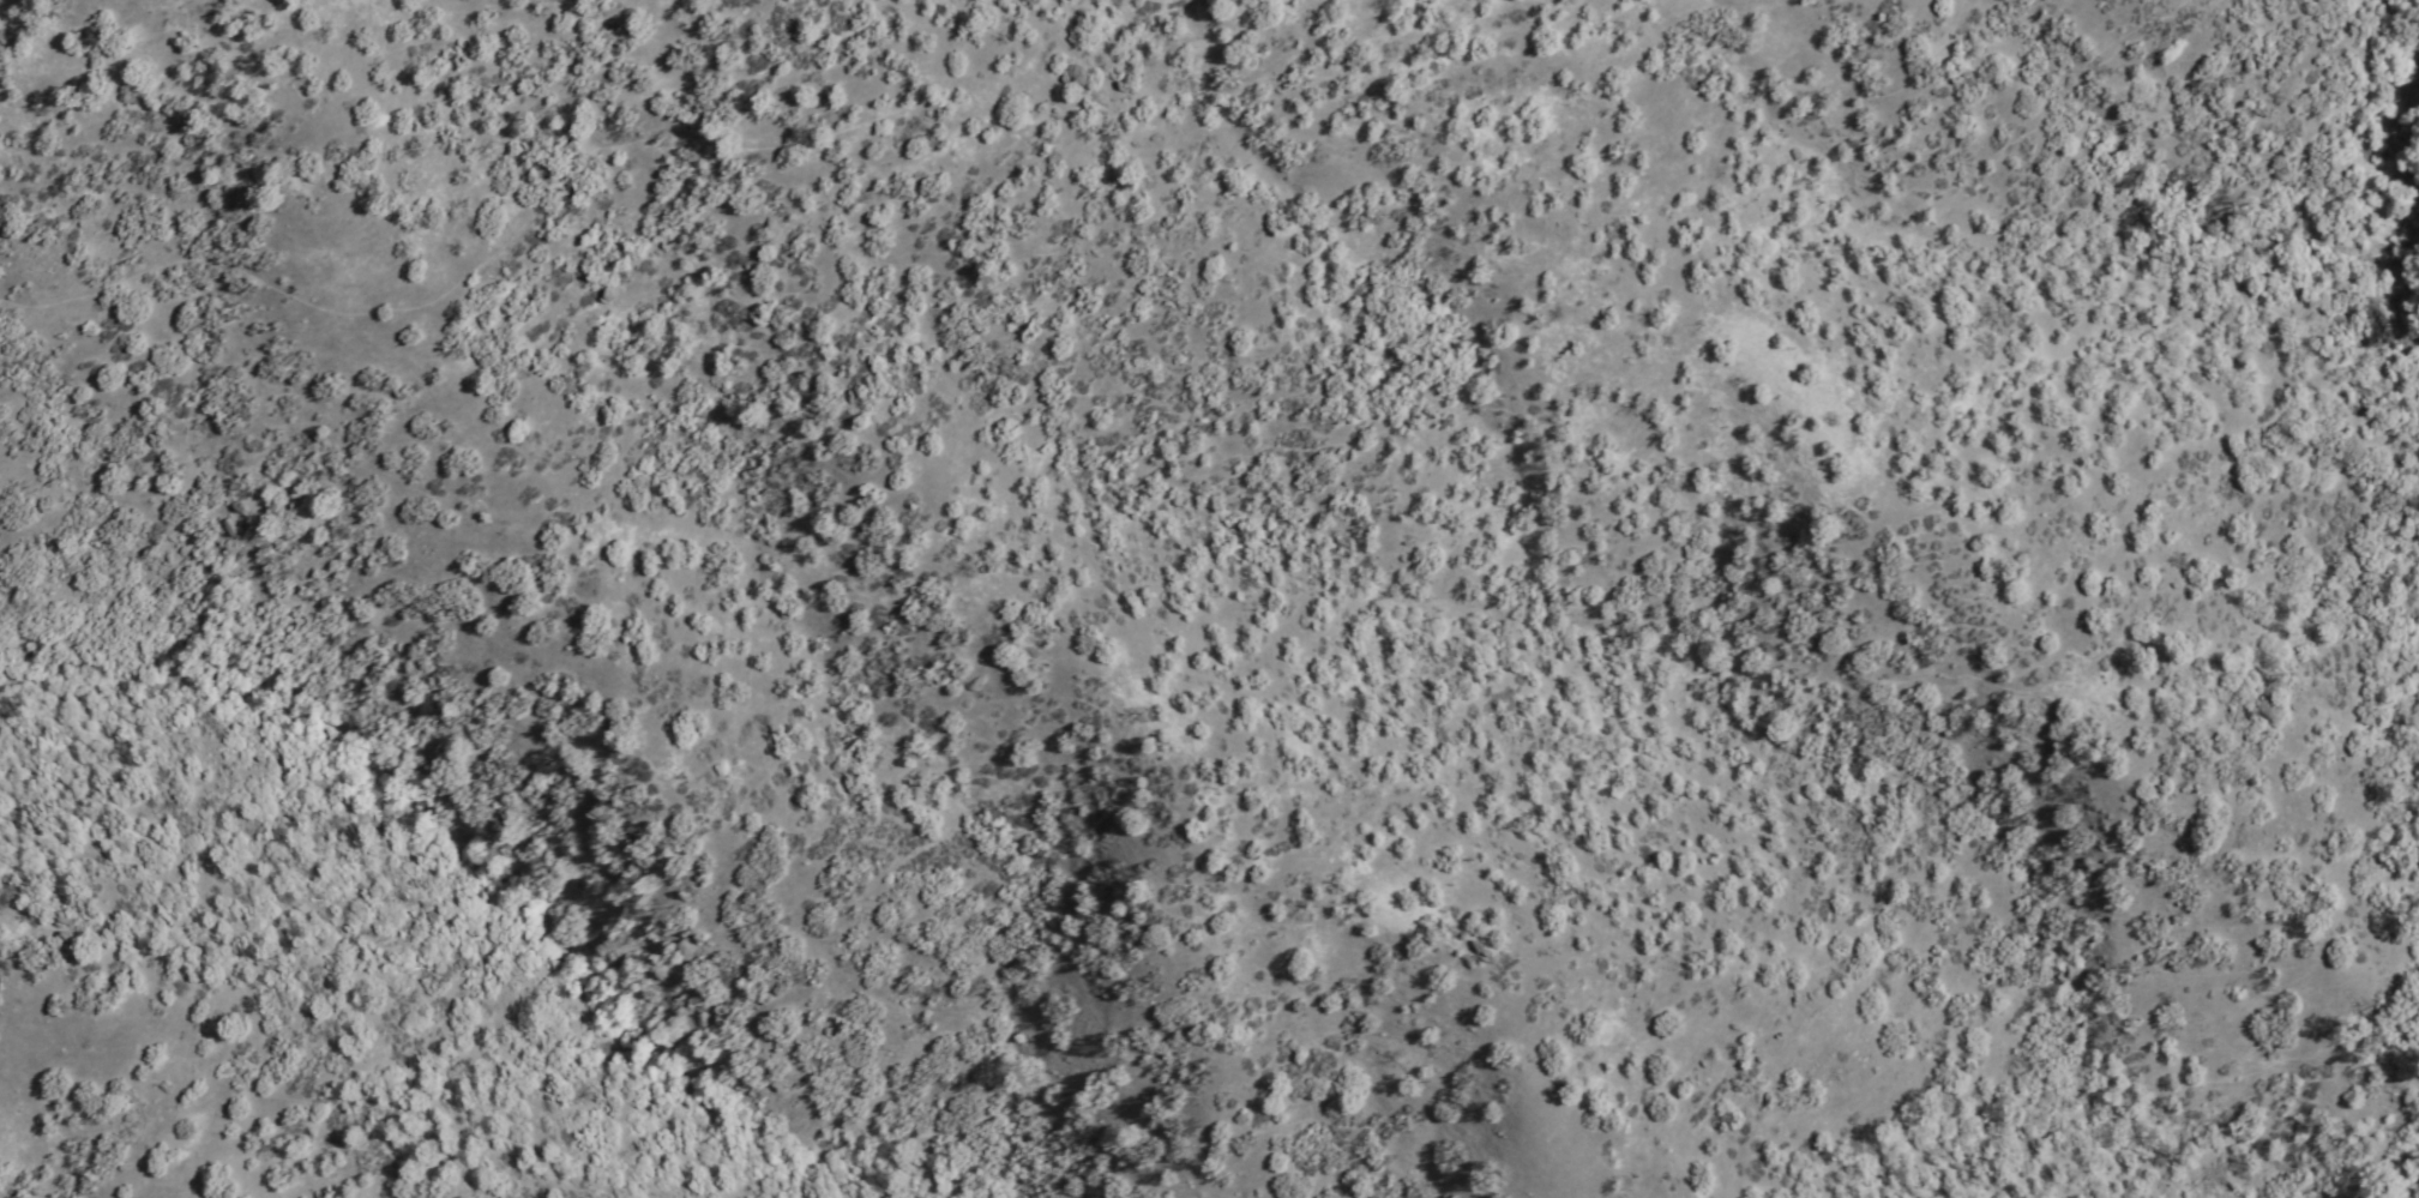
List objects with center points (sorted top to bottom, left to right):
road: (518, 233)

